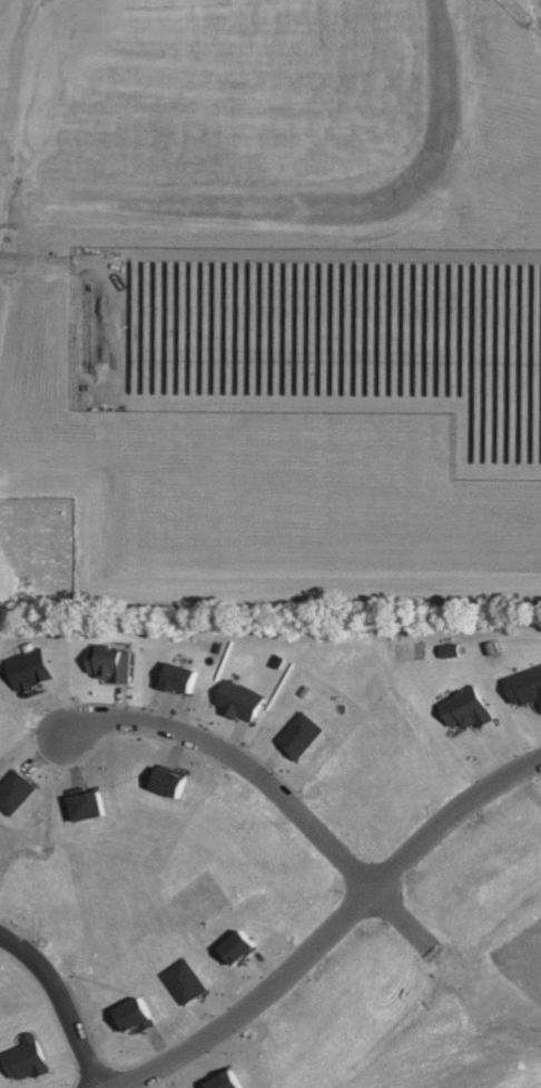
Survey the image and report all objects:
building: (111, 663)
building: (32, 668)
building: (183, 677)
building: (525, 686)
building: (240, 700)
building: (469, 707)
building: (302, 735)
road: (266, 783)
building: (16, 792)
road: (331, 924)
building: (240, 948)
building: (186, 981)
road: (58, 1002)
building: (27, 1059)
building: (227, 1081)

